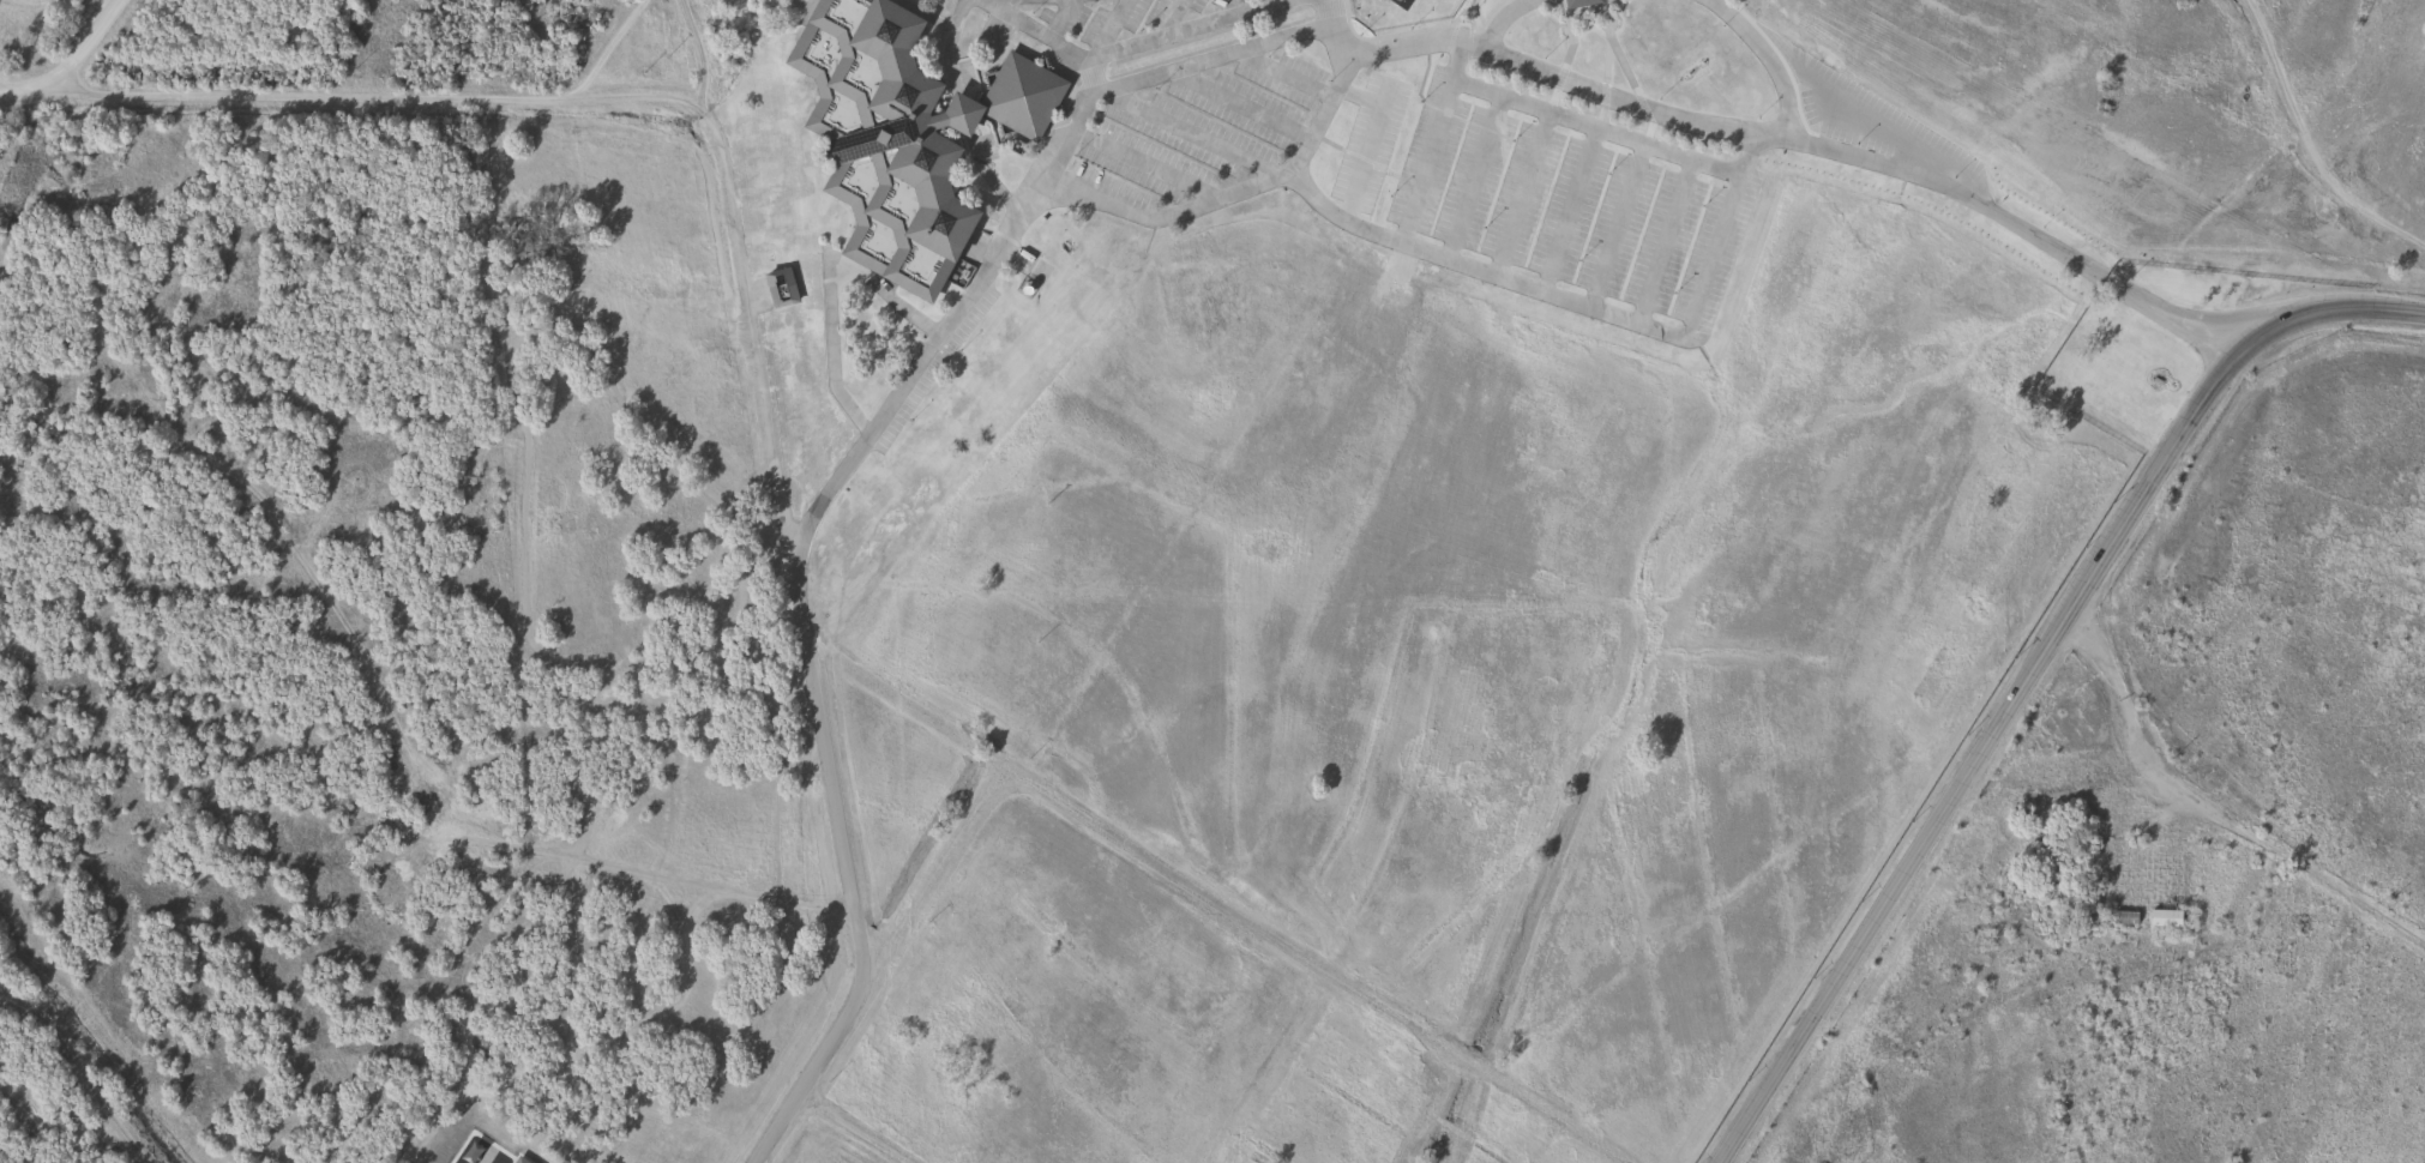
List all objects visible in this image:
road: (1325, 2)
building: (1576, 2)
road: (1503, 17)
road: (1059, 19)
road: (1039, 31)
road: (1105, 35)
road: (950, 38)
road: (1768, 60)
road: (26, 88)
road: (375, 96)
road: (48, 98)
road: (1595, 128)
building: (898, 134)
road: (1431, 138)
road: (1792, 138)
road: (1058, 141)
road: (1223, 198)
building: (777, 287)
road: (1579, 305)
road: (2167, 315)
road: (777, 489)
road: (2036, 667)
road: (2212, 808)
building: (2162, 914)
road: (872, 964)
road: (1312, 966)
road: (84, 1026)
road: (873, 1119)
building: (515, 1159)

